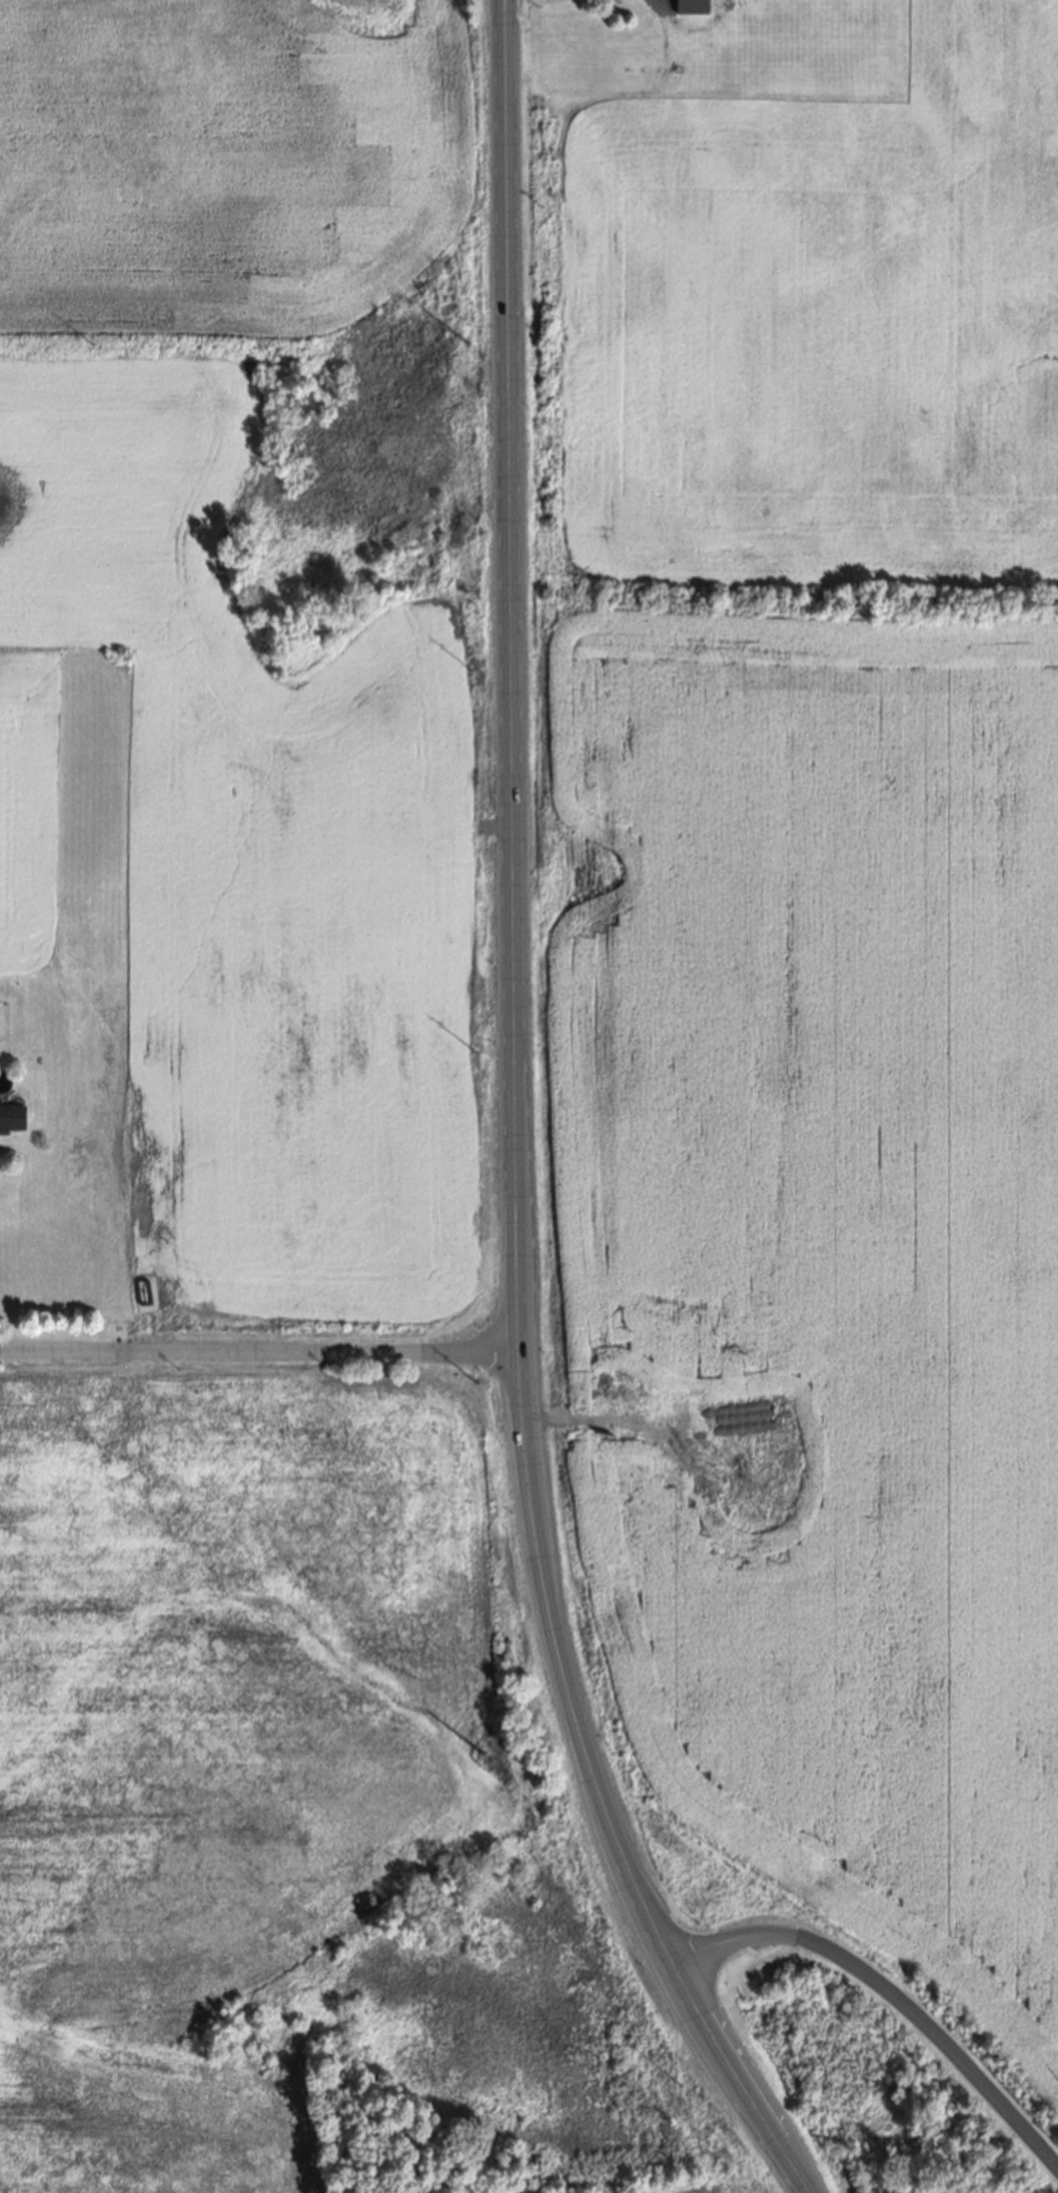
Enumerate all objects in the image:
building: (690, 5)
power tower: (468, 341)
building: (9, 1118)
road: (516, 1129)
building: (583, 1346)
road: (259, 1347)
building: (726, 1347)
building: (759, 1458)
building: (747, 1484)
power tower: (481, 1750)
road: (895, 1988)

